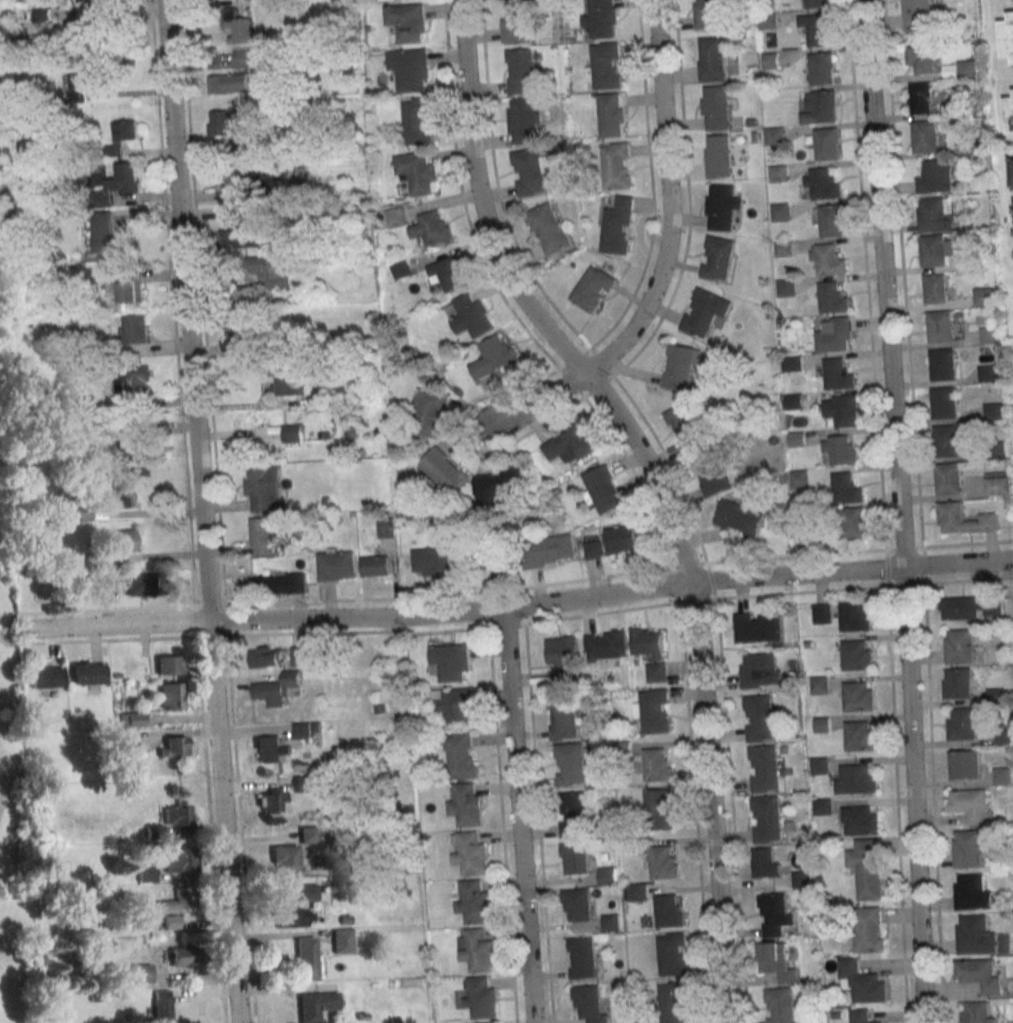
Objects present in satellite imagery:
building: (290, 2)
building: (818, 4)
building: (711, 13)
building: (916, 13)
building: (602, 18)
building: (768, 20)
building: (407, 21)
building: (241, 26)
building: (519, 26)
building: (817, 28)
building: (83, 31)
building: (1008, 38)
building: (921, 58)
building: (245, 59)
building: (713, 59)
building: (86, 60)
building: (772, 61)
building: (606, 65)
building: (411, 67)
building: (967, 67)
building: (822, 68)
building: (522, 71)
building: (229, 83)
building: (83, 84)
building: (921, 97)
building: (717, 107)
building: (820, 107)
building: (613, 114)
building: (1010, 115)
building: (526, 119)
building: (418, 120)
building: (225, 122)
building: (754, 123)
building: (123, 135)
building: (775, 136)
building: (927, 136)
building: (757, 138)
building: (253, 139)
building: (828, 144)
building: (975, 146)
building: (719, 156)
building: (618, 166)
building: (1012, 166)
building: (418, 172)
building: (531, 172)
building: (779, 174)
building: (936, 177)
building: (125, 178)
building: (249, 182)
building: (821, 185)
road: (669, 201)
road: (480, 202)
building: (722, 206)
building: (781, 212)
building: (937, 213)
building: (240, 214)
building: (397, 218)
building: (832, 220)
building: (618, 226)
building: (433, 228)
building: (548, 229)
building: (103, 231)
building: (243, 238)
building: (785, 248)
building: (937, 249)
building: (719, 258)
building: (828, 259)
building: (980, 260)
building: (402, 270)
building: (271, 271)
building: (447, 272)
road: (884, 281)
building: (785, 287)
building: (131, 288)
building: (593, 288)
building: (936, 288)
building: (983, 296)
building: (834, 298)
road: (172, 303)
road: (202, 303)
road: (187, 309)
building: (705, 312)
building: (471, 315)
building: (940, 326)
building: (135, 329)
building: (835, 335)
building: (988, 336)
building: (241, 337)
building: (768, 351)
building: (494, 356)
building: (792, 363)
building: (942, 364)
building: (680, 367)
building: (987, 373)
building: (837, 374)
building: (702, 380)
building: (135, 382)
building: (287, 386)
building: (324, 396)
road: (538, 397)
building: (794, 400)
building: (944, 402)
building: (841, 410)
building: (993, 411)
building: (431, 412)
building: (686, 426)
building: (292, 433)
building: (774, 440)
building: (798, 440)
building: (947, 440)
building: (128, 442)
building: (571, 443)
building: (243, 446)
road: (483, 447)
building: (840, 449)
building: (996, 450)
building: (445, 470)
building: (711, 472)
road: (647, 474)
building: (800, 478)
building: (948, 479)
building: (997, 483)
building: (497, 486)
road: (681, 486)
road: (641, 487)
building: (263, 488)
building: (846, 488)
building: (604, 489)
building: (124, 498)
building: (328, 502)
road: (882, 511)
road: (918, 511)
building: (83, 512)
building: (950, 516)
building: (739, 518)
building: (855, 523)
building: (385, 528)
building: (803, 530)
building: (261, 534)
building: (621, 539)
building: (126, 540)
building: (593, 549)
building: (549, 550)
building: (481, 558)
building: (432, 561)
road: (958, 561)
building: (98, 562)
building: (337, 564)
building: (375, 565)
road: (799, 572)
road: (618, 574)
building: (140, 583)
building: (280, 584)
building: (108, 586)
road: (601, 595)
building: (971, 606)
road: (93, 610)
road: (620, 610)
road: (358, 613)
building: (822, 613)
building: (854, 617)
road: (226, 620)
road: (196, 621)
road: (115, 623)
building: (758, 628)
road: (96, 641)
building: (648, 642)
building: (810, 645)
building: (959, 646)
building: (605, 647)
building: (857, 655)
building: (300, 656)
building: (563, 656)
building: (266, 657)
building: (450, 662)
building: (168, 665)
building: (761, 669)
building: (89, 672)
building: (656, 672)
building: (46, 676)
building: (958, 683)
building: (820, 685)
building: (276, 689)
building: (172, 695)
building: (996, 695)
building: (858, 696)
building: (454, 705)
building: (653, 710)
park: (13, 715)
building: (759, 717)
building: (564, 718)
building: (132, 719)
building: (964, 723)
building: (822, 725)
building: (306, 729)
building: (859, 736)
building: (1004, 737)
building: (126, 746)
building: (174, 746)
building: (270, 748)
building: (624, 748)
building: (461, 755)
building: (572, 764)
building: (657, 764)
building: (965, 764)
building: (820, 765)
building: (764, 767)
building: (1003, 776)
building: (857, 778)
building: (302, 783)
road: (913, 793)
building: (270, 800)
road: (710, 803)
building: (970, 804)
building: (467, 805)
building: (822, 806)
building: (658, 809)
building: (175, 813)
building: (574, 814)
road: (517, 816)
building: (766, 818)
building: (860, 819)
road: (224, 821)
road: (538, 823)
road: (502, 825)
road: (241, 829)
road: (211, 830)
building: (154, 832)
building: (307, 834)
building: (632, 843)
building: (969, 848)
building: (469, 852)
building: (575, 858)
building: (180, 859)
building: (284, 859)
building: (662, 861)
building: (766, 863)
building: (867, 867)
building: (145, 873)
building: (608, 875)
building: (801, 878)
building: (306, 892)
building: (637, 892)
building: (973, 892)
building: (178, 899)
building: (474, 902)
building: (577, 905)
building: (668, 911)
building: (774, 913)
building: (292, 917)
building: (345, 920)
building: (170, 922)
building: (610, 922)
building: (868, 929)
building: (975, 935)
building: (342, 940)
building: (476, 949)
building: (671, 953)
building: (182, 957)
building: (583, 957)
building: (305, 958)
building: (777, 961)
building: (140, 973)
building: (979, 973)
building: (861, 981)
building: (480, 996)
building: (672, 1002)
building: (590, 1003)
building: (315, 1005)
building: (779, 1005)
building: (161, 1006)
building: (976, 1012)
building: (836, 1014)
building: (362, 1016)
building: (861, 1016)
building: (486, 1022)

